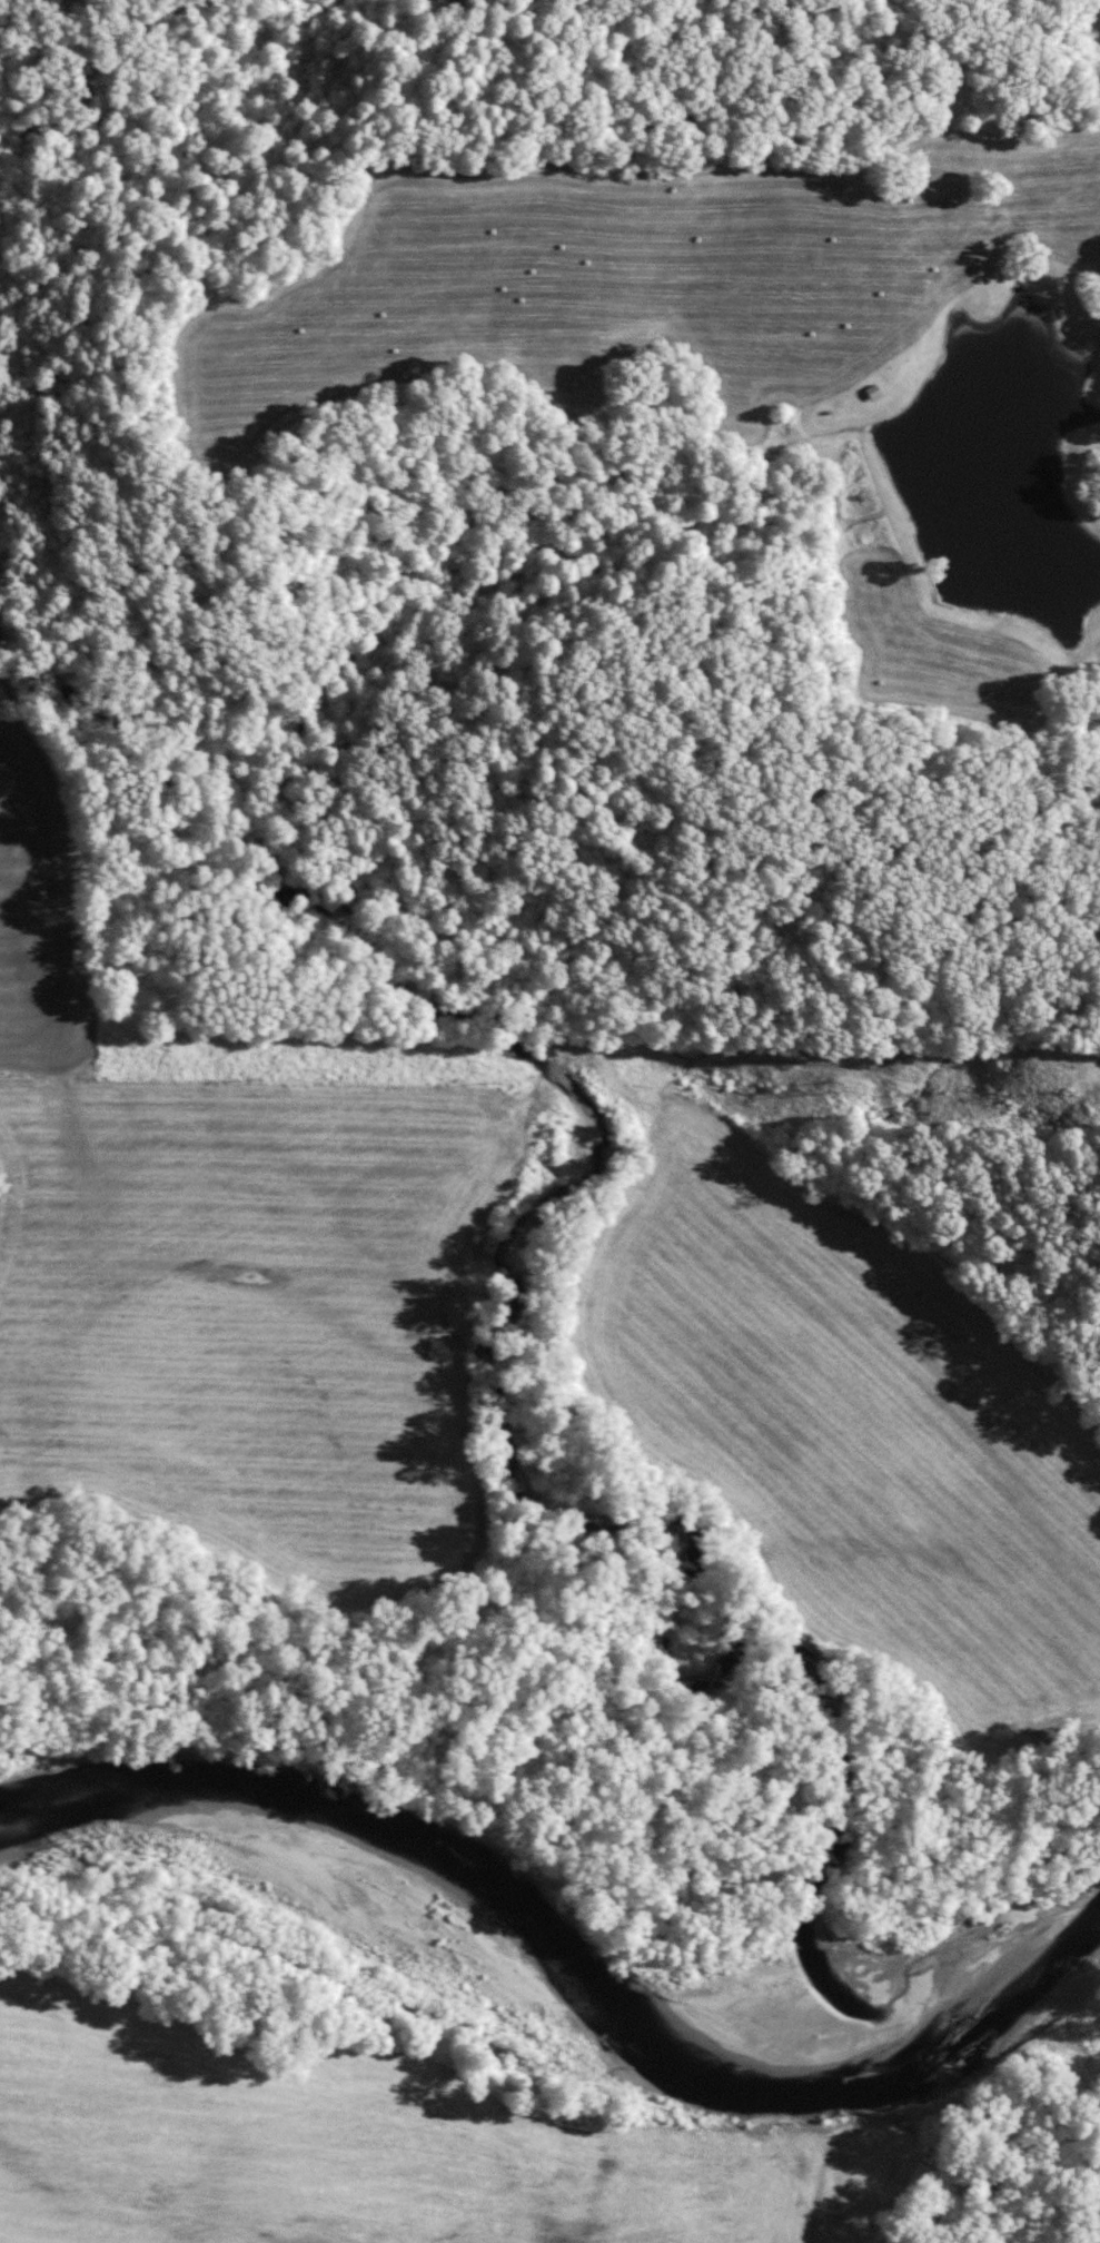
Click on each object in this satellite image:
river: (533, 1989)
road: (884, 2064)

